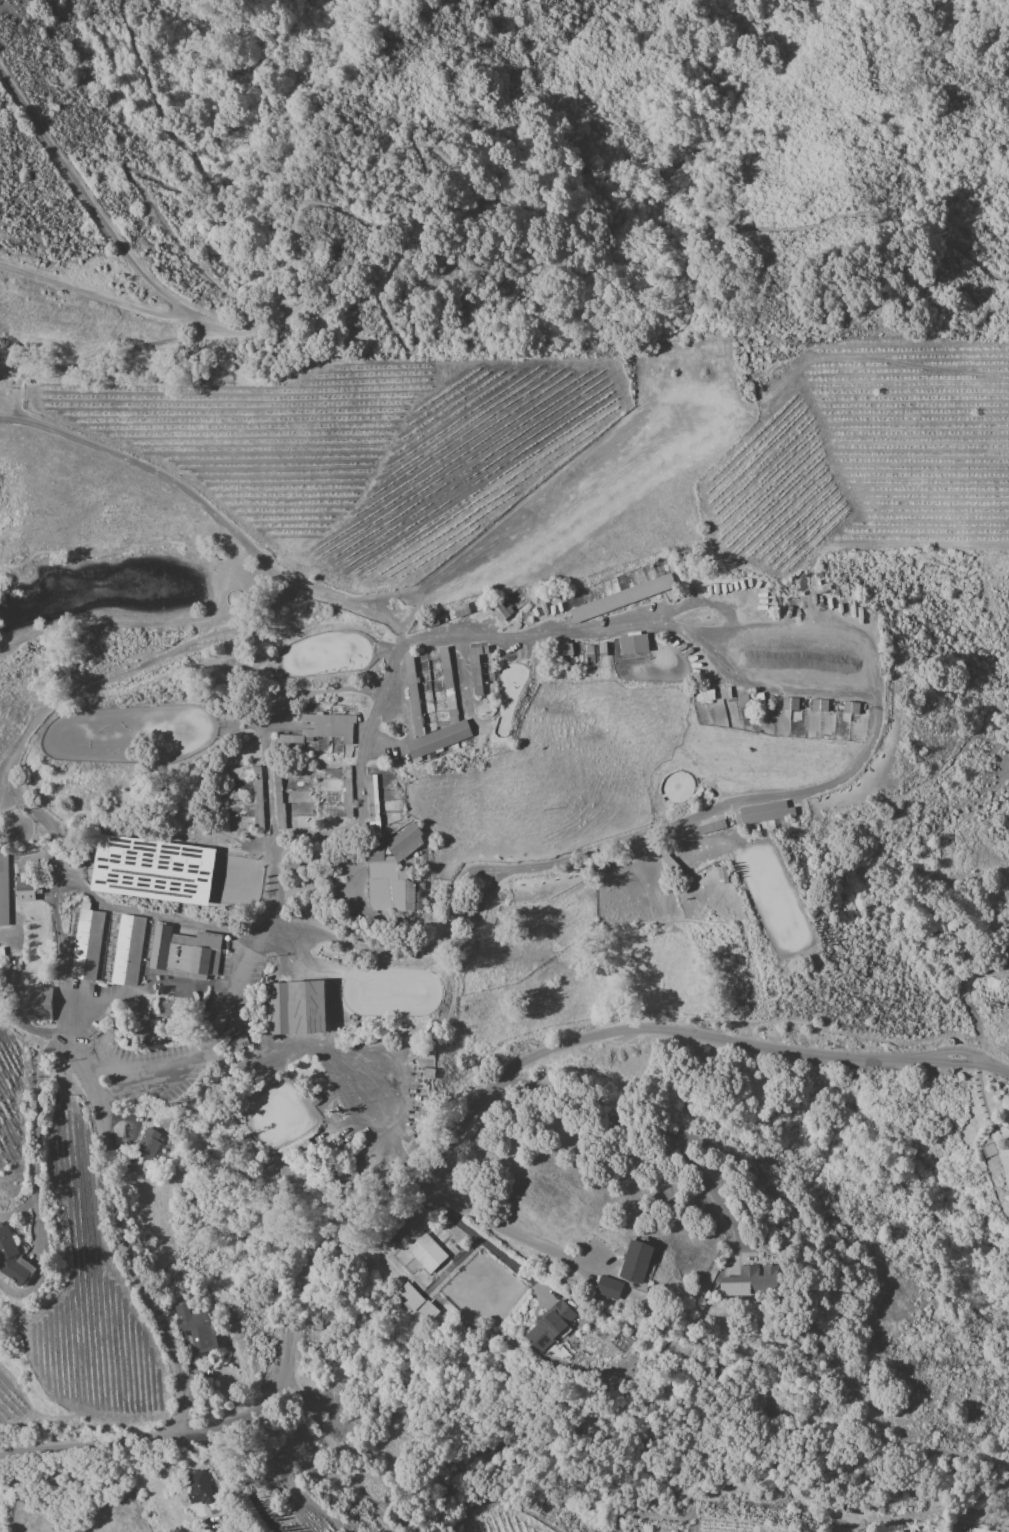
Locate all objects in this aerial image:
road: (176, 191)
road: (486, 191)
road: (87, 198)
road: (96, 295)
road: (204, 321)
road: (257, 329)
road: (202, 336)
road: (132, 348)
road: (25, 374)
road: (7, 420)
road: (203, 507)
building: (621, 598)
road: (812, 627)
road: (399, 644)
building: (632, 644)
building: (428, 692)
building: (790, 703)
park: (126, 736)
building: (436, 740)
road: (267, 763)
road: (806, 791)
road: (356, 792)
building: (764, 812)
building: (404, 842)
building: (2, 863)
park: (171, 873)
building: (387, 883)
building: (28, 884)
building: (3, 900)
road: (53, 908)
road: (155, 915)
building: (85, 943)
building: (150, 943)
building: (127, 950)
park: (416, 994)
road: (102, 1000)
building: (39, 1004)
road: (967, 1006)
road: (27, 1022)
road: (210, 1042)
road: (76, 1051)
road: (294, 1053)
road: (376, 1111)
road: (647, 1122)
road: (36, 1140)
building: (147, 1143)
building: (1002, 1143)
road: (445, 1150)
road: (502, 1227)
road: (492, 1247)
building: (429, 1255)
building: (11, 1257)
road: (125, 1257)
building: (635, 1262)
building: (748, 1279)
building: (608, 1287)
road: (887, 1299)
building: (550, 1325)
building: (195, 1328)
road: (552, 1448)
road: (336, 1449)
road: (236, 1466)
road: (215, 1470)
road: (495, 1494)

